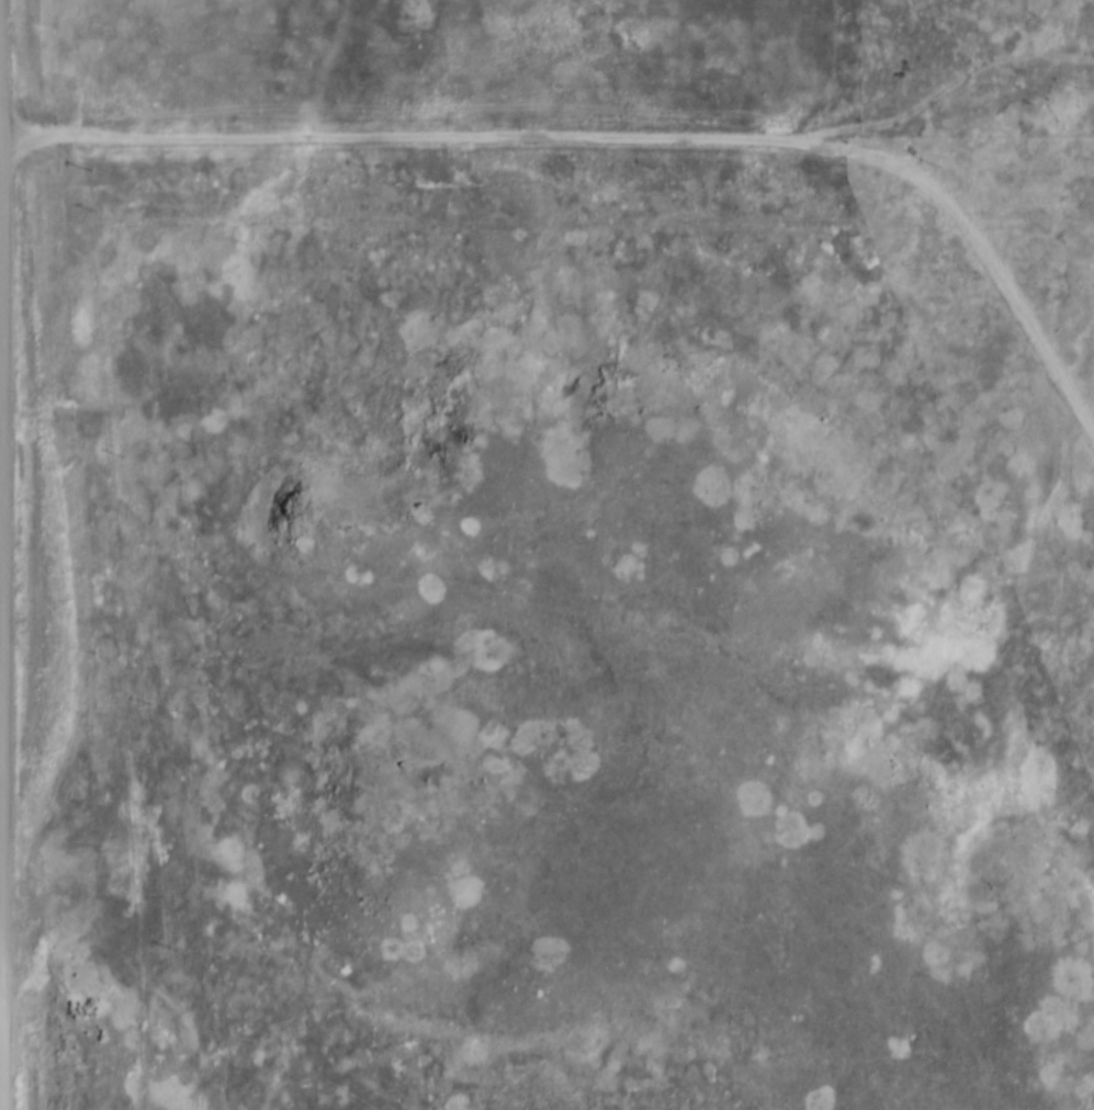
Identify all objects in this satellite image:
road: (550, 140)
road: (1019, 316)
road: (0, 693)
road: (1, 1096)

